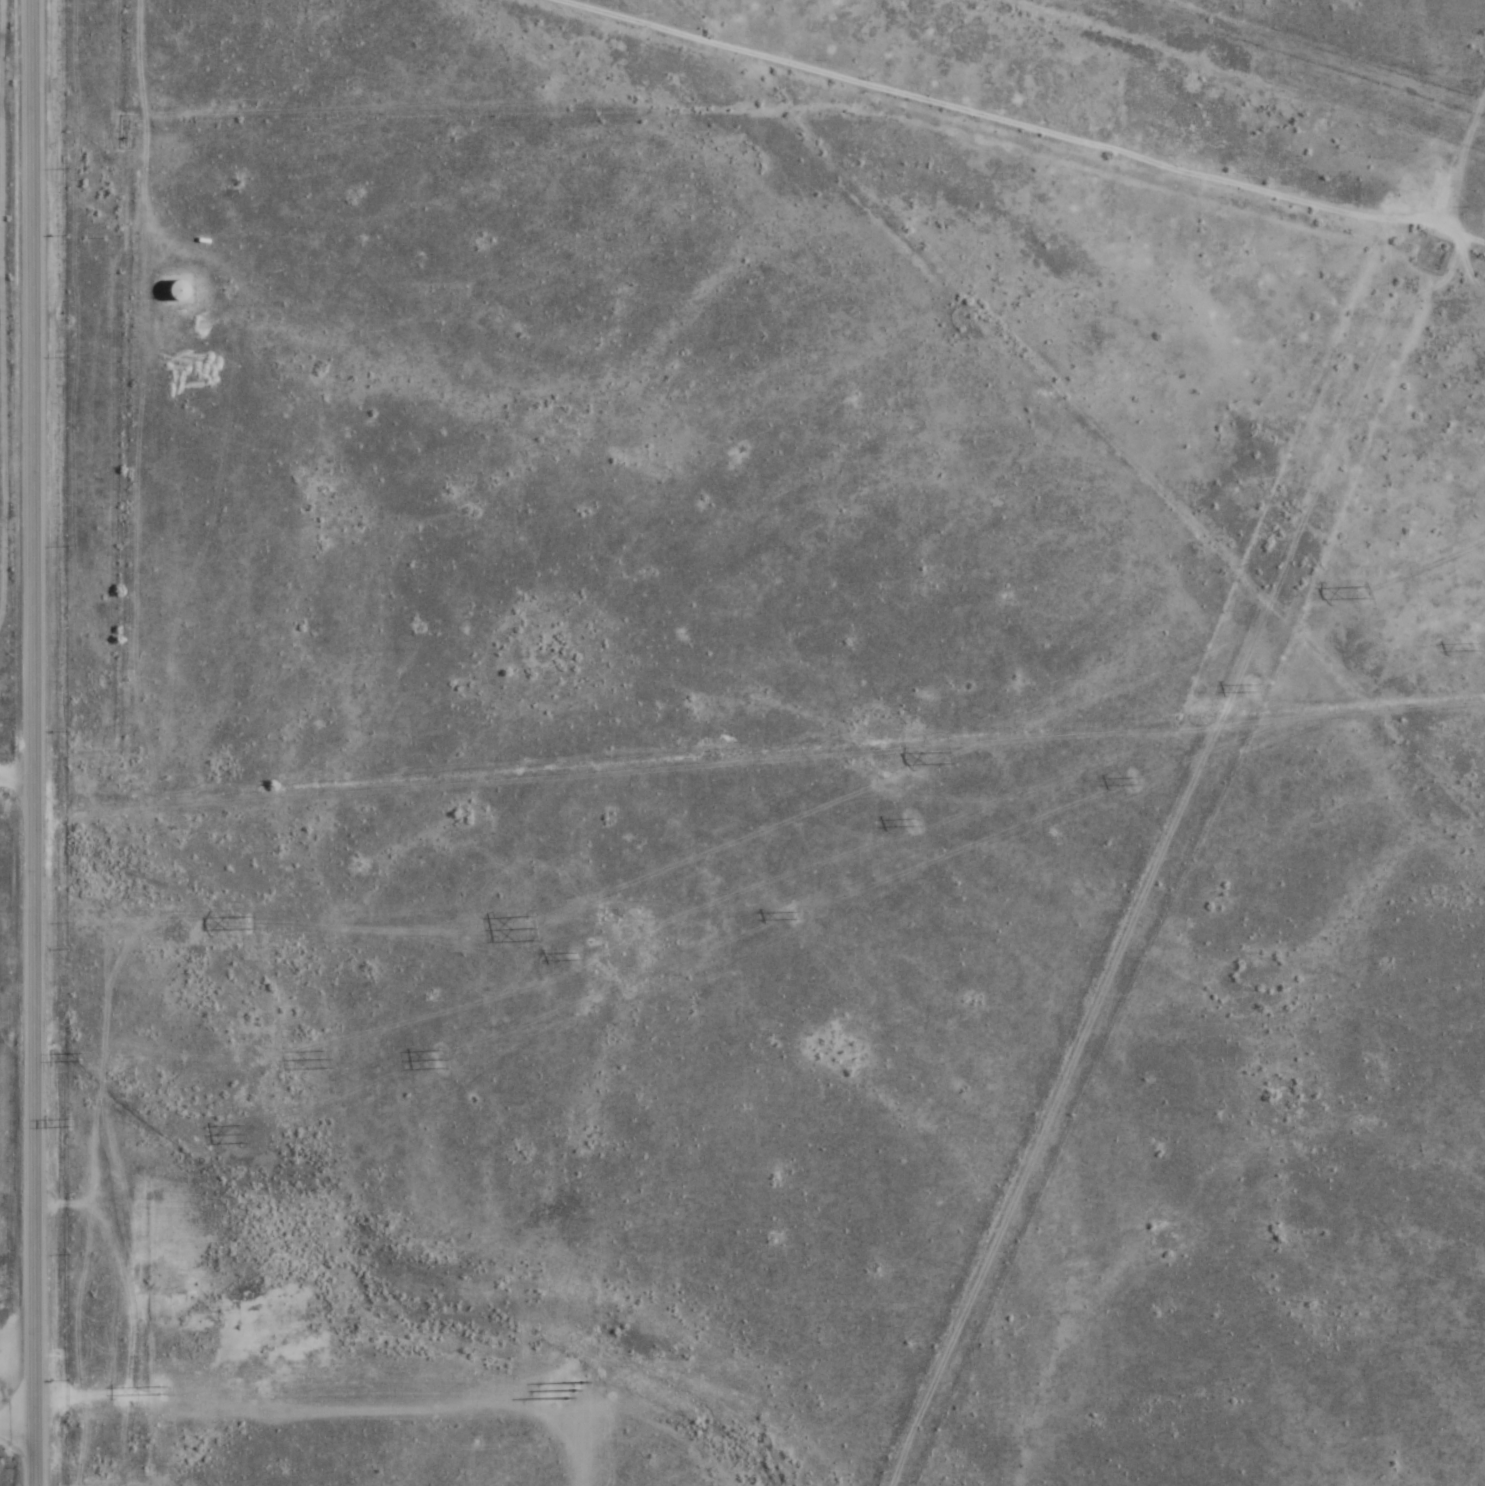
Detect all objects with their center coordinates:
road: (975, 135)
power tower: (1360, 593)
power tower: (1470, 649)
power tower: (1248, 689)
road: (37, 742)
power tower: (943, 760)
road: (18, 778)
power tower: (1130, 782)
power tower: (913, 824)
power tower: (790, 917)
power tower: (246, 922)
power tower: (528, 928)
power tower: (574, 957)
power tower: (79, 1057)
power tower: (324, 1060)
power tower: (444, 1061)
power tower: (68, 1123)
power tower: (240, 1135)
road: (19, 1416)

